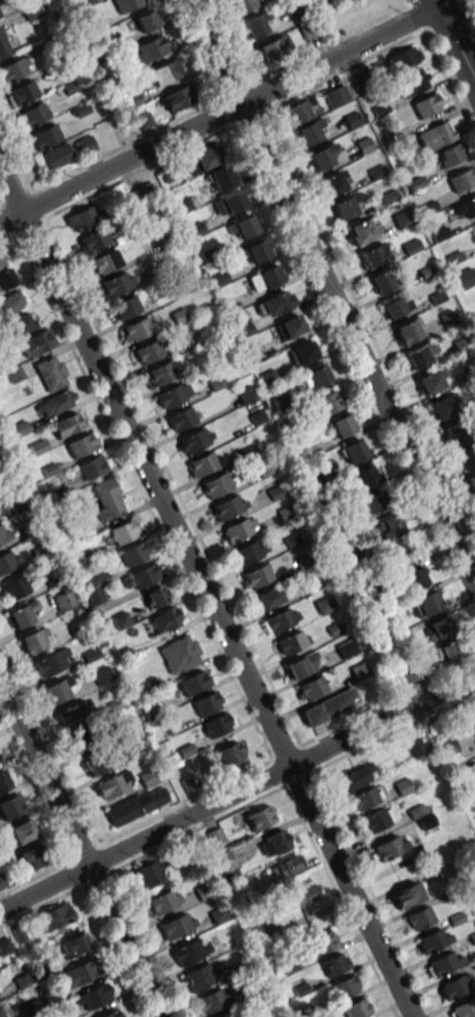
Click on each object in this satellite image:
road: (407, 1)
building: (126, 4)
building: (245, 4)
building: (1, 12)
building: (31, 12)
building: (146, 20)
building: (256, 24)
road: (454, 41)
building: (3, 46)
building: (149, 49)
building: (272, 49)
building: (404, 58)
building: (13, 70)
road: (441, 71)
building: (163, 73)
building: (413, 82)
building: (22, 93)
building: (336, 96)
building: (178, 97)
building: (427, 105)
building: (299, 110)
building: (34, 114)
road: (218, 114)
building: (310, 132)
building: (436, 135)
building: (68, 152)
building: (448, 155)
building: (323, 157)
building: (206, 158)
building: (221, 177)
building: (462, 179)
building: (334, 182)
building: (141, 194)
building: (229, 203)
building: (346, 206)
building: (466, 207)
building: (152, 213)
building: (82, 218)
building: (401, 220)
building: (244, 226)
building: (474, 228)
building: (361, 232)
building: (439, 234)
building: (94, 240)
building: (411, 246)
building: (255, 251)
building: (374, 255)
building: (454, 257)
building: (2, 259)
building: (104, 262)
building: (426, 272)
building: (265, 278)
building: (465, 278)
building: (6, 279)
building: (381, 282)
building: (118, 283)
road: (330, 295)
building: (11, 303)
building: (276, 303)
building: (396, 306)
building: (126, 307)
building: (22, 323)
building: (290, 326)
building: (138, 328)
building: (409, 330)
building: (37, 342)
building: (462, 345)
building: (149, 351)
building: (302, 353)
building: (419, 356)
building: (51, 373)
building: (162, 373)
building: (318, 375)
building: (431, 381)
building: (171, 396)
building: (56, 402)
building: (326, 403)
building: (443, 406)
building: (181, 418)
building: (67, 424)
building: (341, 425)
building: (453, 432)
building: (193, 440)
building: (81, 445)
building: (353, 451)
building: (466, 457)
building: (202, 464)
building: (91, 467)
building: (365, 476)
building: (471, 482)
building: (216, 484)
building: (107, 499)
building: (376, 501)
building: (227, 506)
building: (390, 526)
building: (239, 530)
building: (123, 531)
building: (4, 533)
building: (133, 554)
building: (9, 561)
building: (256, 575)
building: (142, 576)
building: (415, 579)
building: (15, 586)
road: (205, 594)
building: (157, 596)
building: (269, 598)
building: (64, 601)
building: (427, 602)
building: (23, 613)
building: (165, 620)
building: (280, 620)
building: (439, 627)
building: (33, 640)
building: (290, 642)
building: (447, 652)
building: (180, 653)
building: (53, 662)
building: (301, 665)
building: (411, 672)
building: (101, 675)
building: (193, 682)
building: (312, 687)
building: (57, 689)
building: (206, 703)
building: (329, 708)
building: (472, 708)
building: (74, 714)
building: (217, 725)
building: (448, 746)
building: (417, 747)
building: (229, 755)
building: (94, 762)
building: (462, 775)
building: (358, 776)
building: (3, 780)
building: (114, 785)
road: (237, 792)
building: (365, 797)
building: (137, 805)
building: (11, 806)
building: (258, 818)
building: (378, 820)
building: (21, 831)
building: (216, 837)
building: (274, 843)
building: (390, 847)
road: (80, 851)
building: (31, 858)
building: (226, 862)
building: (286, 866)
building: (150, 873)
building: (299, 894)
building: (407, 895)
building: (164, 900)
building: (55, 916)
building: (420, 918)
building: (177, 925)
building: (434, 940)
building: (324, 942)
building: (73, 945)
building: (5, 946)
building: (191, 951)
building: (335, 964)
building: (288, 965)
building: (443, 965)
building: (79, 973)
building: (198, 977)
building: (346, 986)
building: (456, 986)
building: (93, 997)
building: (214, 1000)
building: (356, 1008)
building: (462, 1010)
building: (112, 1013)
building: (1, 1014)
building: (232, 1015)

